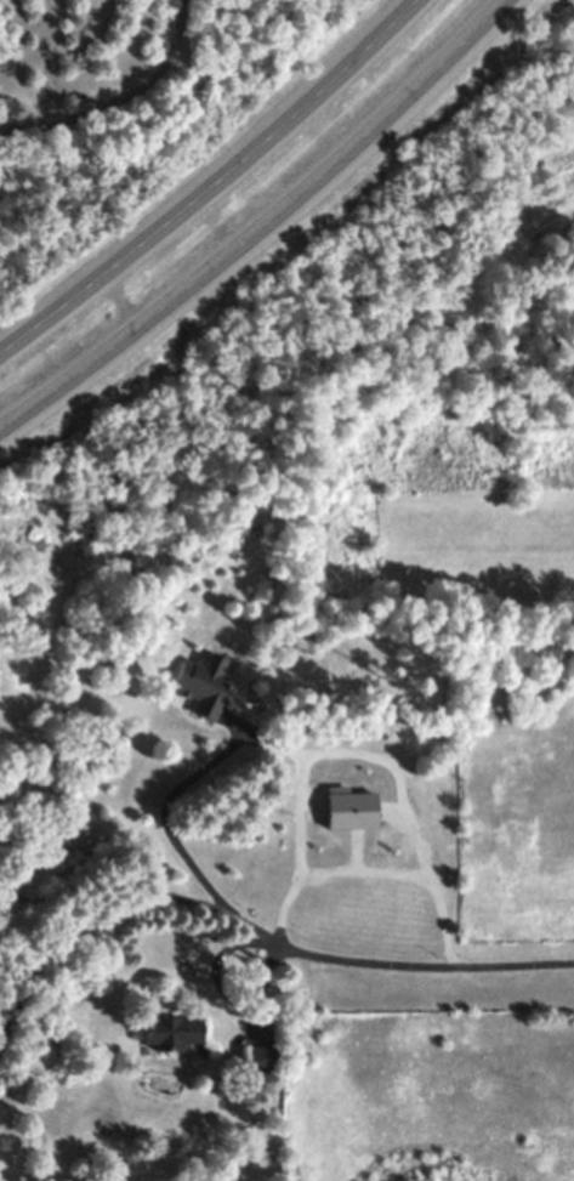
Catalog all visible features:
road: (216, 186)
road: (260, 226)
road: (121, 301)
building: (201, 682)
building: (354, 801)
road: (374, 869)
road: (113, 913)
road: (286, 944)
road: (220, 989)
building: (170, 1028)
building: (260, 1056)

